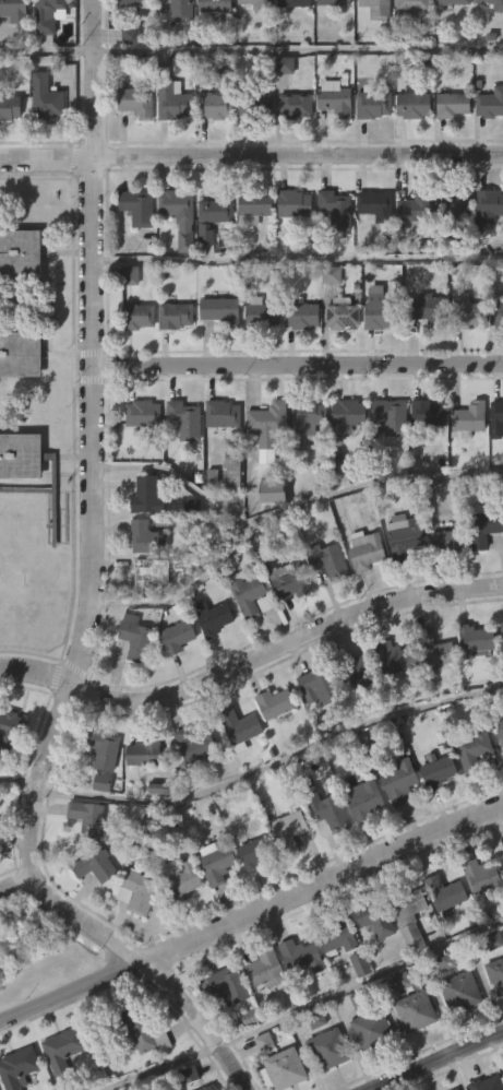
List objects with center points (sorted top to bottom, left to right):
building: (452, 1)
building: (336, 2)
building: (295, 3)
building: (260, 4)
building: (133, 5)
building: (213, 5)
building: (411, 5)
building: (498, 8)
building: (379, 9)
building: (180, 10)
building: (14, 11)
building: (51, 13)
building: (447, 35)
building: (328, 36)
building: (125, 37)
building: (249, 37)
building: (288, 37)
building: (488, 37)
building: (369, 42)
building: (408, 42)
building: (172, 44)
building: (209, 44)
building: (11, 48)
road: (298, 48)
building: (45, 49)
road: (47, 50)
building: (125, 78)
building: (170, 97)
building: (334, 97)
building: (44, 98)
building: (135, 102)
building: (454, 103)
building: (491, 103)
building: (296, 104)
building: (371, 104)
building: (412, 105)
building: (213, 106)
building: (8, 107)
building: (256, 107)
building: (279, 107)
building: (41, 141)
building: (331, 141)
building: (168, 143)
building: (131, 144)
building: (488, 145)
building: (369, 147)
building: (408, 147)
building: (447, 147)
building: (211, 149)
building: (249, 149)
building: (290, 149)
building: (8, 150)
road: (251, 159)
building: (453, 201)
building: (488, 203)
building: (291, 204)
building: (373, 204)
building: (139, 206)
building: (252, 206)
building: (418, 208)
building: (338, 209)
building: (177, 214)
building: (212, 216)
building: (290, 247)
building: (448, 247)
building: (370, 248)
building: (487, 248)
building: (133, 250)
building: (248, 250)
building: (409, 251)
building: (21, 252)
building: (331, 252)
building: (175, 258)
road: (297, 259)
building: (207, 260)
building: (17, 295)
building: (379, 308)
building: (424, 308)
building: (219, 309)
building: (465, 311)
building: (342, 312)
building: (496, 312)
building: (177, 313)
building: (259, 315)
building: (139, 316)
building: (304, 316)
building: (421, 349)
building: (216, 353)
building: (463, 353)
building: (21, 354)
building: (371, 354)
building: (256, 355)
building: (336, 356)
building: (494, 357)
building: (133, 358)
building: (171, 358)
building: (297, 358)
road: (297, 364)
building: (17, 396)
building: (221, 413)
building: (350, 413)
building: (429, 413)
building: (310, 414)
building: (144, 415)
building: (393, 416)
building: (471, 418)
building: (187, 419)
building: (498, 420)
building: (268, 427)
building: (422, 455)
building: (137, 457)
building: (218, 457)
building: (344, 457)
building: (304, 458)
building: (385, 458)
building: (464, 460)
building: (493, 461)
building: (180, 462)
building: (230, 467)
building: (28, 469)
building: (262, 470)
building: (149, 495)
building: (17, 498)
road: (289, 508)
building: (226, 511)
building: (483, 525)
building: (267, 534)
building: (404, 535)
building: (147, 538)
building: (446, 538)
building: (364, 549)
building: (327, 560)
building: (480, 570)
building: (145, 573)
building: (400, 576)
building: (289, 582)
building: (442, 584)
road: (181, 591)
building: (360, 592)
building: (247, 593)
road: (91, 596)
building: (323, 603)
building: (137, 615)
building: (214, 618)
building: (284, 623)
building: (501, 628)
building: (175, 636)
building: (134, 637)
building: (247, 638)
building: (475, 640)
building: (435, 650)
building: (208, 660)
road: (250, 660)
building: (395, 661)
building: (355, 671)
building: (499, 672)
building: (171, 679)
building: (131, 680)
building: (472, 680)
building: (321, 684)
building: (431, 692)
building: (387, 699)
building: (276, 702)
building: (351, 714)
building: (242, 726)
building: (11, 727)
building: (313, 727)
building: (500, 734)
building: (199, 744)
building: (270, 746)
building: (101, 750)
building: (471, 750)
building: (145, 753)
road: (273, 762)
building: (235, 768)
building: (7, 770)
building: (438, 772)
road: (20, 780)
building: (498, 780)
building: (396, 781)
building: (190, 784)
building: (98, 792)
building: (468, 792)
building: (139, 795)
building: (360, 799)
building: (0, 804)
building: (323, 809)
building: (433, 815)
building: (89, 816)
building: (395, 824)
building: (287, 830)
building: (360, 841)
building: (258, 852)
building: (322, 852)
building: (81, 855)
building: (218, 861)
building: (94, 865)
building: (284, 873)
building: (483, 876)
building: (179, 879)
road: (16, 881)
road: (322, 885)
building: (136, 891)
building: (444, 896)
building: (250, 897)
building: (501, 903)
building: (212, 904)
building: (91, 908)
building: (408, 916)
building: (477, 917)
building: (373, 919)
building: (175, 921)
building: (132, 934)
building: (440, 935)
building: (336, 937)
building: (299, 957)
building: (369, 961)
building: (406, 968)
building: (264, 970)
building: (496, 974)
building: (333, 981)
building: (489, 982)
building: (229, 984)
road: (360, 984)
building: (463, 991)
road: (71, 992)
building: (296, 998)
building: (355, 1006)
building: (415, 1010)
building: (261, 1011)
building: (493, 1017)
building: (397, 1022)
building: (220, 1027)
building: (134, 1029)
building: (370, 1031)
building: (455, 1033)
building: (330, 1048)
building: (65, 1051)
building: (410, 1053)
building: (245, 1057)
road: (441, 1065)
building: (19, 1067)
road: (156, 1067)
building: (287, 1068)
building: (135, 1071)
building: (367, 1071)
building: (60, 1081)
building: (323, 1081)
building: (259, 1082)
building: (488, 1083)
building: (208, 1088)
building: (28, 1089)
building: (288, 1089)

